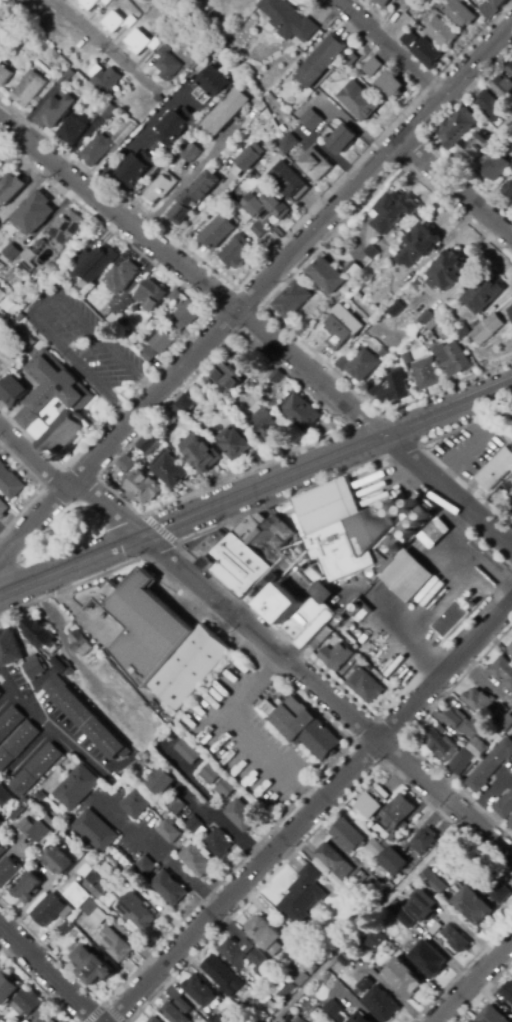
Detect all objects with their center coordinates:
building: (107, 2)
building: (498, 2)
building: (91, 3)
building: (384, 3)
building: (488, 8)
building: (465, 16)
building: (406, 17)
building: (288, 21)
building: (122, 22)
building: (441, 32)
building: (408, 37)
building: (147, 42)
road: (103, 43)
road: (392, 49)
building: (166, 51)
building: (426, 52)
building: (351, 60)
building: (321, 61)
building: (372, 66)
building: (173, 67)
building: (511, 69)
building: (4, 75)
building: (53, 78)
building: (65, 78)
building: (111, 80)
building: (390, 82)
building: (219, 86)
building: (505, 87)
building: (29, 89)
building: (202, 94)
building: (359, 101)
building: (492, 107)
building: (110, 110)
building: (54, 111)
building: (233, 112)
building: (312, 118)
building: (181, 127)
building: (458, 128)
building: (78, 129)
building: (123, 132)
building: (342, 139)
building: (292, 144)
building: (474, 147)
building: (102, 151)
road: (123, 152)
building: (191, 153)
building: (259, 153)
building: (315, 165)
building: (494, 165)
building: (141, 169)
building: (241, 169)
road: (192, 173)
building: (288, 180)
building: (165, 187)
building: (508, 187)
building: (10, 189)
road: (456, 191)
building: (201, 196)
building: (266, 205)
building: (393, 212)
building: (39, 214)
building: (74, 222)
building: (259, 229)
building: (217, 230)
building: (418, 246)
building: (236, 250)
building: (11, 252)
building: (373, 252)
building: (88, 256)
building: (28, 261)
building: (102, 261)
building: (353, 271)
building: (447, 272)
building: (49, 273)
building: (126, 275)
building: (327, 276)
road: (256, 291)
building: (155, 292)
building: (2, 295)
building: (483, 295)
building: (294, 298)
road: (38, 306)
building: (19, 309)
building: (394, 309)
building: (510, 310)
building: (192, 311)
building: (119, 312)
building: (315, 315)
building: (426, 318)
building: (179, 326)
building: (341, 327)
road: (260, 328)
building: (488, 329)
building: (462, 331)
building: (167, 340)
building: (7, 348)
building: (152, 353)
building: (383, 354)
building: (405, 359)
building: (453, 359)
building: (362, 365)
building: (232, 373)
building: (425, 374)
building: (276, 377)
building: (374, 388)
building: (394, 389)
building: (12, 391)
building: (188, 398)
building: (209, 402)
building: (54, 404)
building: (301, 413)
building: (173, 414)
building: (511, 418)
building: (265, 424)
building: (160, 433)
building: (236, 442)
building: (148, 444)
building: (201, 453)
road: (32, 458)
building: (124, 465)
building: (169, 469)
building: (496, 470)
building: (358, 478)
building: (9, 482)
building: (142, 487)
road: (256, 488)
building: (494, 497)
building: (3, 509)
building: (511, 510)
building: (435, 533)
building: (358, 538)
building: (271, 576)
building: (453, 618)
building: (36, 630)
road: (408, 630)
building: (159, 640)
building: (9, 647)
building: (82, 647)
building: (510, 648)
building: (335, 656)
building: (60, 663)
road: (293, 665)
building: (34, 669)
building: (502, 672)
building: (363, 685)
building: (1, 694)
building: (479, 701)
building: (85, 718)
building: (144, 721)
building: (10, 722)
road: (48, 723)
building: (462, 724)
building: (305, 728)
road: (243, 731)
building: (17, 744)
building: (478, 748)
building: (188, 752)
building: (448, 752)
building: (490, 765)
road: (327, 768)
building: (35, 770)
building: (210, 774)
building: (161, 782)
building: (76, 788)
building: (225, 788)
road: (489, 791)
building: (4, 797)
building: (374, 802)
road: (195, 803)
building: (135, 804)
road: (213, 804)
building: (177, 806)
building: (504, 806)
road: (308, 810)
building: (397, 813)
building: (17, 814)
building: (241, 815)
building: (0, 821)
building: (510, 824)
building: (193, 825)
building: (26, 826)
road: (315, 829)
building: (95, 830)
building: (40, 831)
building: (168, 832)
building: (347, 835)
building: (423, 840)
building: (390, 841)
building: (218, 843)
building: (377, 849)
building: (2, 851)
road: (162, 853)
building: (360, 858)
building: (197, 859)
building: (57, 860)
building: (335, 861)
building: (394, 861)
building: (145, 866)
building: (106, 867)
building: (9, 871)
building: (359, 876)
building: (430, 880)
building: (98, 886)
building: (27, 888)
building: (170, 888)
building: (499, 891)
building: (303, 894)
building: (77, 895)
building: (423, 905)
building: (473, 905)
building: (49, 910)
building: (137, 911)
building: (66, 912)
building: (96, 912)
building: (407, 920)
building: (67, 926)
building: (435, 928)
building: (260, 930)
building: (456, 939)
building: (376, 941)
building: (117, 945)
building: (233, 951)
building: (349, 958)
building: (428, 958)
building: (261, 963)
building: (94, 965)
building: (312, 965)
road: (460, 967)
building: (337, 968)
road: (49, 972)
building: (224, 976)
building: (403, 979)
building: (302, 980)
road: (472, 981)
road: (37, 984)
building: (366, 985)
building: (7, 988)
building: (286, 989)
building: (200, 991)
road: (482, 991)
building: (507, 992)
building: (28, 1001)
road: (104, 1004)
building: (381, 1004)
building: (272, 1005)
building: (334, 1008)
building: (177, 1011)
building: (491, 1015)
building: (288, 1018)
building: (342, 1018)
building: (359, 1018)
building: (56, 1019)
building: (218, 1019)
building: (295, 1019)
building: (40, 1020)
building: (156, 1020)
building: (282, 1020)
building: (473, 1020)
building: (303, 1021)

